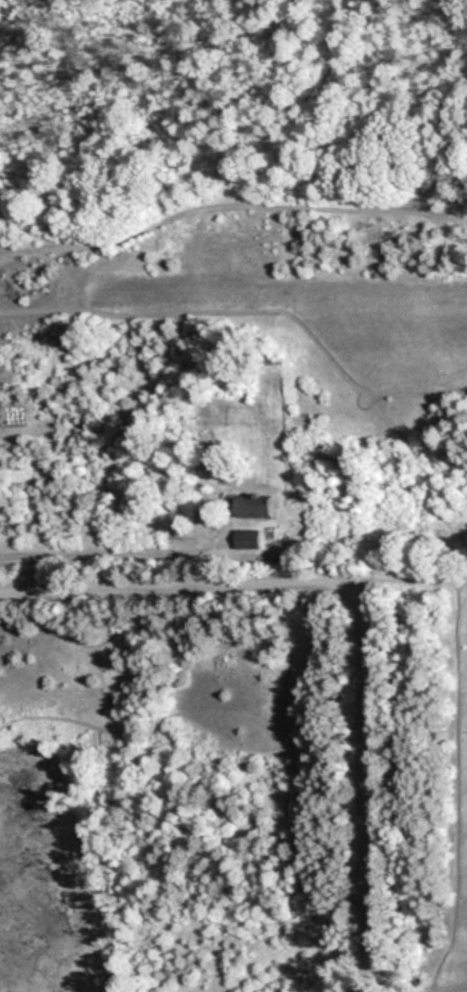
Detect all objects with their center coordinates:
building: (255, 506)
building: (250, 538)
road: (360, 611)
road: (358, 989)

